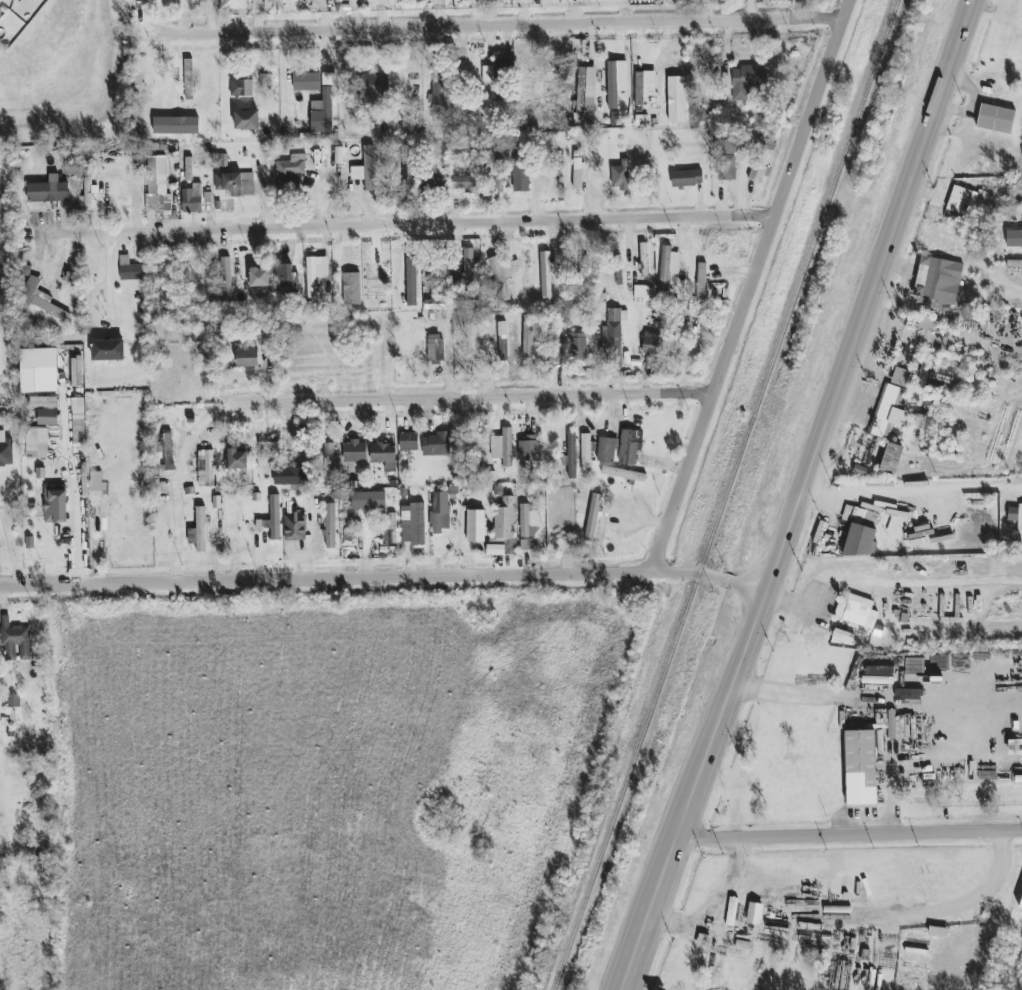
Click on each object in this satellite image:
building: (13, 0)
building: (203, 1)
building: (234, 4)
building: (1, 14)
road: (497, 26)
building: (503, 63)
building: (487, 74)
building: (189, 79)
building: (265, 80)
building: (747, 81)
building: (307, 82)
building: (612, 85)
building: (644, 86)
building: (242, 87)
building: (373, 87)
building: (438, 87)
building: (585, 90)
building: (676, 99)
building: (324, 114)
building: (994, 118)
building: (247, 120)
building: (176, 125)
building: (726, 160)
building: (366, 169)
building: (157, 170)
building: (291, 171)
building: (759, 173)
building: (621, 176)
building: (521, 177)
building: (577, 177)
building: (687, 178)
building: (234, 183)
building: (432, 183)
building: (465, 184)
building: (48, 191)
building: (87, 199)
building: (192, 199)
building: (961, 200)
building: (983, 201)
building: (158, 202)
road: (440, 225)
road: (75, 234)
building: (1014, 238)
building: (643, 259)
building: (1014, 263)
building: (468, 266)
building: (668, 267)
building: (130, 269)
building: (503, 274)
building: (285, 275)
building: (259, 277)
building: (311, 277)
building: (546, 278)
building: (701, 279)
building: (225, 280)
building: (938, 281)
building: (412, 282)
road: (750, 287)
building: (641, 292)
building: (441, 303)
building: (41, 305)
building: (928, 323)
building: (613, 331)
building: (651, 342)
building: (578, 345)
building: (435, 347)
building: (108, 350)
building: (494, 353)
building: (247, 357)
building: (38, 358)
building: (77, 371)
building: (900, 377)
building: (44, 396)
road: (473, 396)
building: (78, 410)
building: (888, 411)
building: (47, 417)
building: (37, 442)
building: (409, 442)
building: (268, 445)
building: (436, 445)
building: (630, 446)
building: (503, 447)
building: (167, 449)
building: (607, 450)
building: (355, 451)
building: (529, 451)
building: (6, 453)
building: (586, 453)
building: (384, 455)
building: (570, 458)
building: (891, 459)
building: (238, 460)
building: (329, 462)
building: (206, 468)
building: (623, 474)
building: (290, 476)
road: (179, 483)
road: (910, 491)
road: (76, 495)
railway: (727, 495)
road: (799, 495)
building: (369, 500)
building: (55, 505)
building: (440, 513)
building: (593, 516)
building: (860, 516)
building: (275, 517)
building: (499, 517)
building: (1016, 521)
building: (529, 522)
building: (413, 524)
building: (295, 526)
building: (330, 526)
building: (392, 528)
building: (198, 531)
building: (861, 541)
building: (526, 545)
road: (10, 549)
road: (383, 581)
building: (858, 613)
building: (15, 642)
building: (879, 670)
road: (876, 697)
building: (879, 741)
building: (860, 769)
road: (848, 835)
building: (1020, 905)
road: (961, 909)
road: (719, 913)
building: (754, 914)
building: (925, 953)

